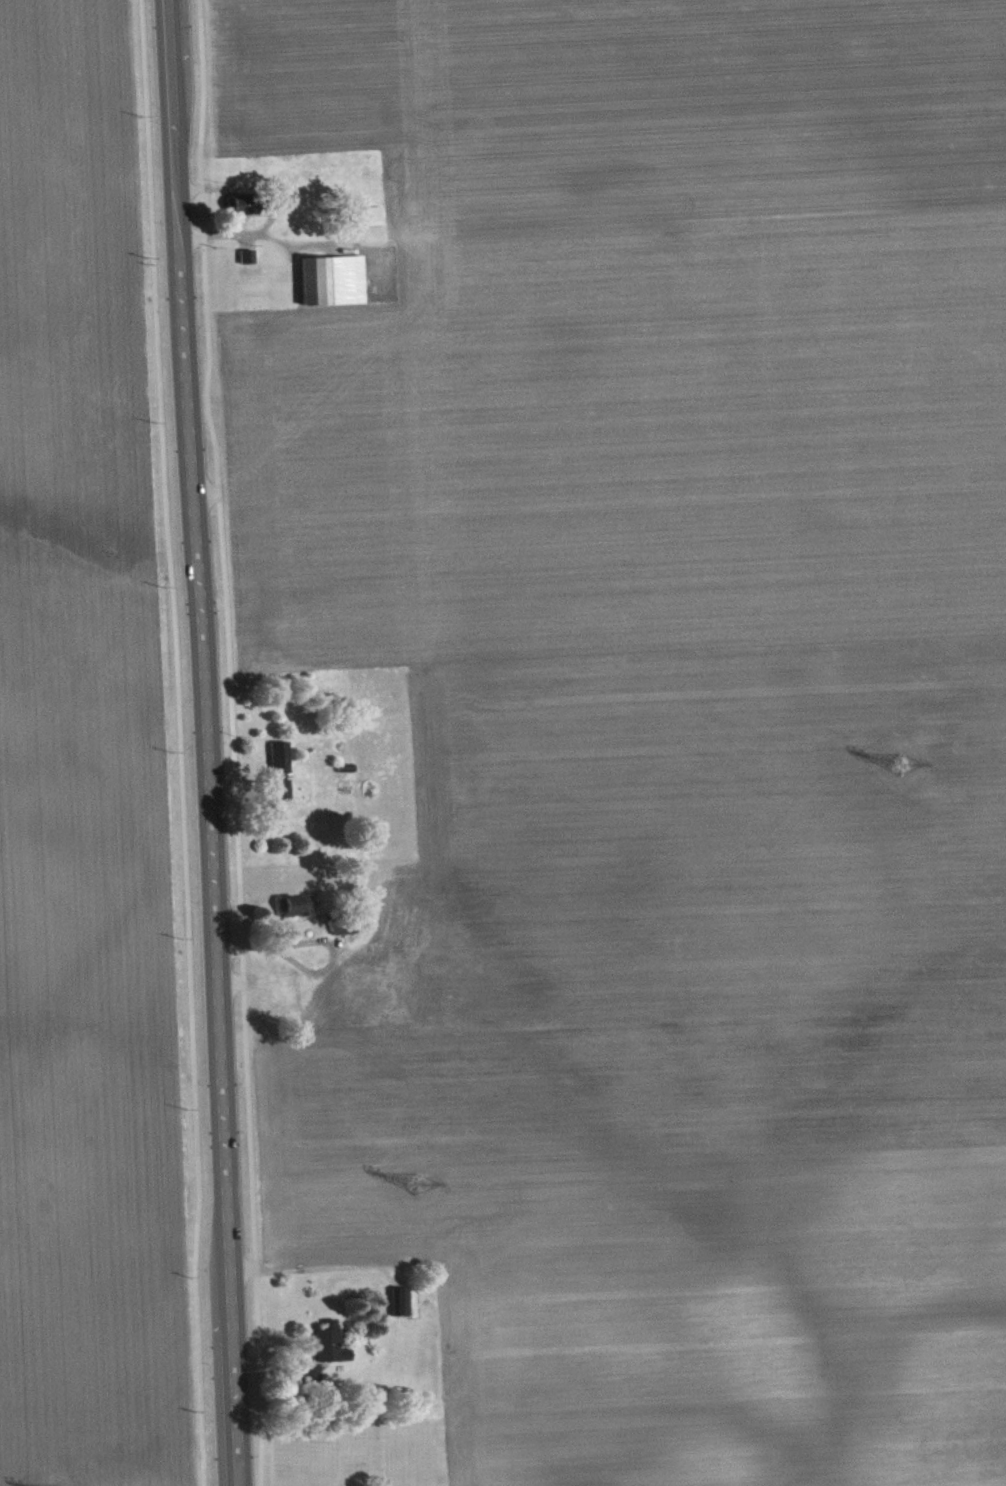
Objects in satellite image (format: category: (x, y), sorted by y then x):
road: (273, 205)
building: (245, 210)
building: (371, 222)
building: (249, 263)
building: (335, 286)
road: (178, 742)
road: (205, 742)
road: (232, 742)
power tower: (898, 767)
building: (282, 776)
building: (277, 820)
building: (296, 913)
building: (346, 935)
power tower: (415, 1185)
building: (403, 1308)
building: (333, 1350)

